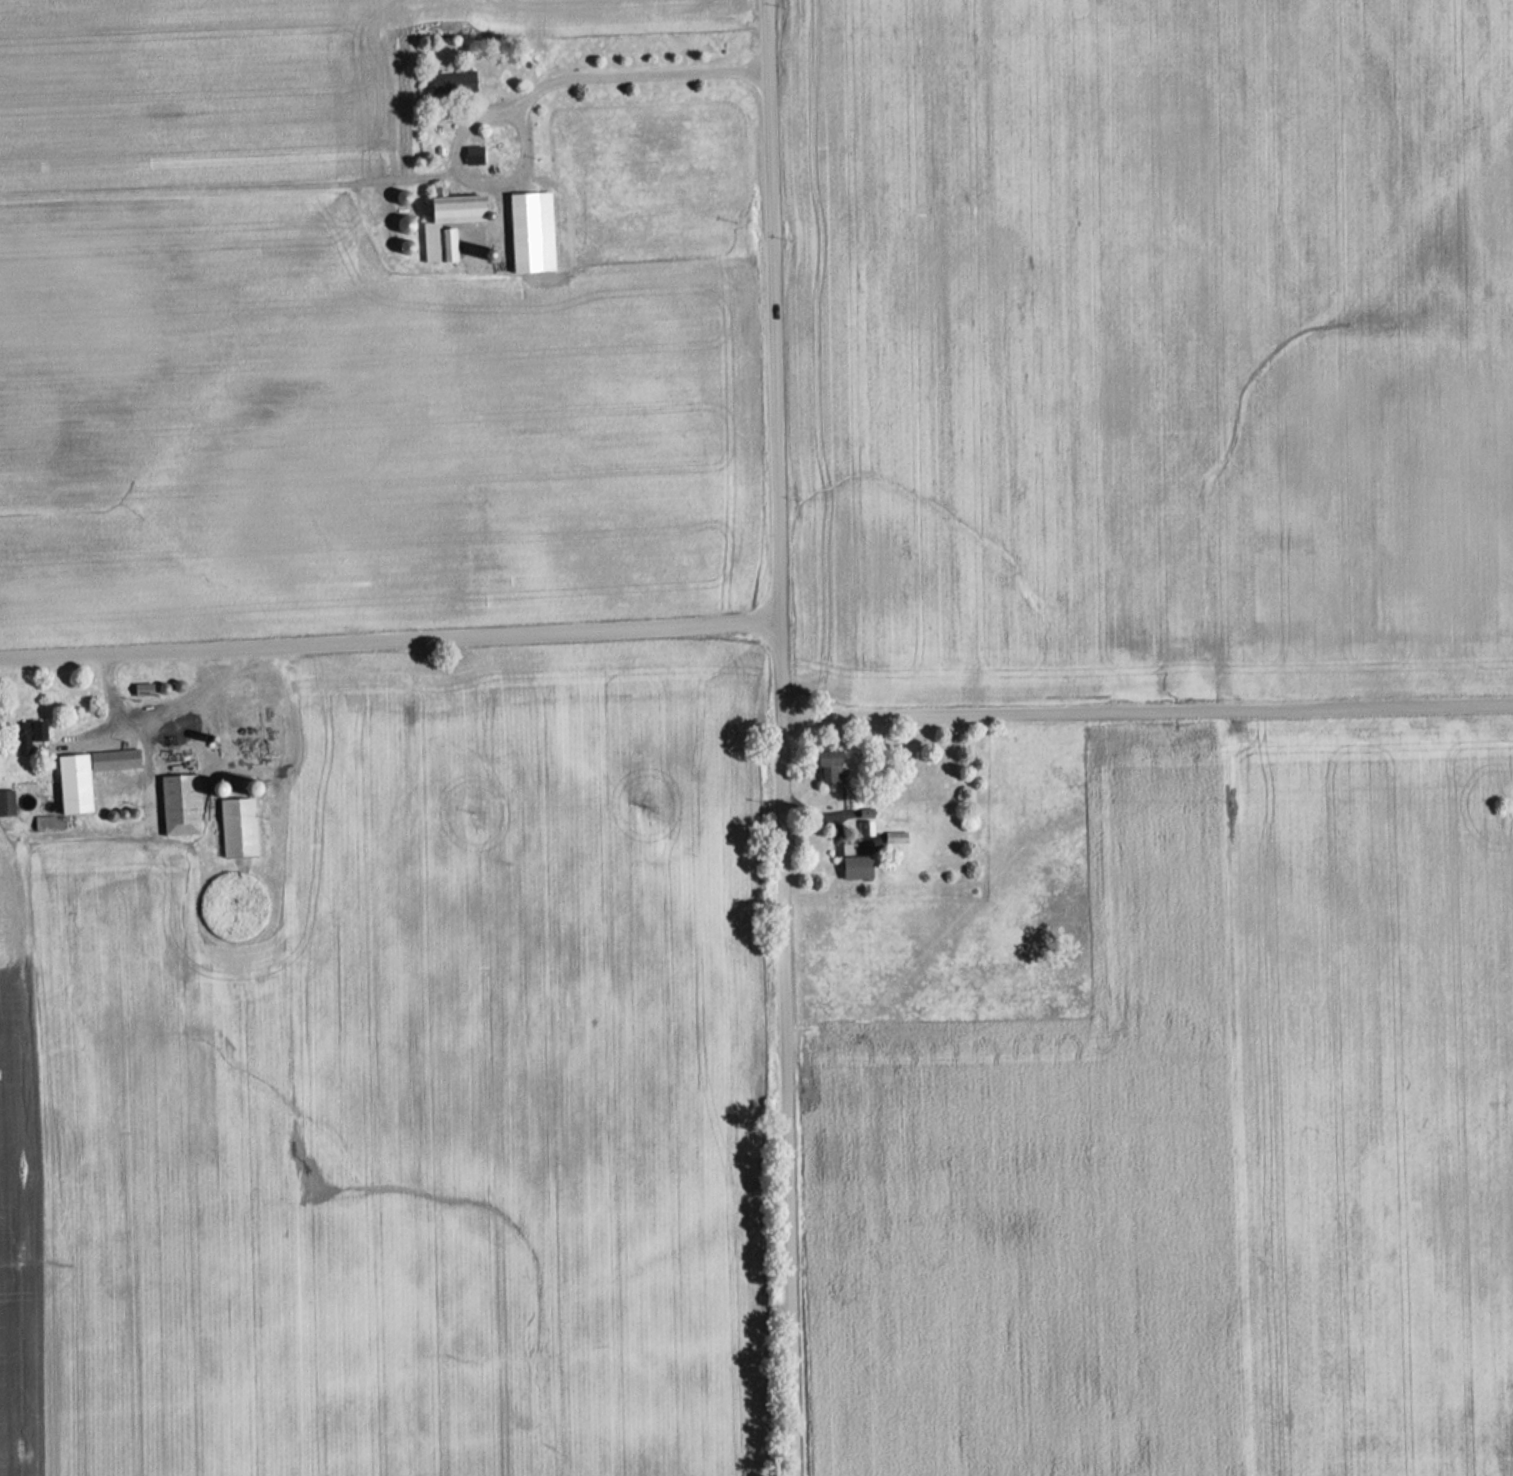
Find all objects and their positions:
building: (454, 81)
road: (528, 97)
building: (475, 154)
building: (532, 231)
building: (440, 243)
road: (773, 309)
road: (389, 639)
road: (779, 670)
building: (145, 688)
road: (112, 690)
road: (162, 711)
road: (1147, 711)
building: (30, 734)
building: (115, 758)
building: (830, 766)
road: (280, 768)
building: (76, 782)
building: (7, 801)
building: (182, 803)
building: (239, 826)
building: (867, 826)
building: (857, 866)
road: (784, 1098)

